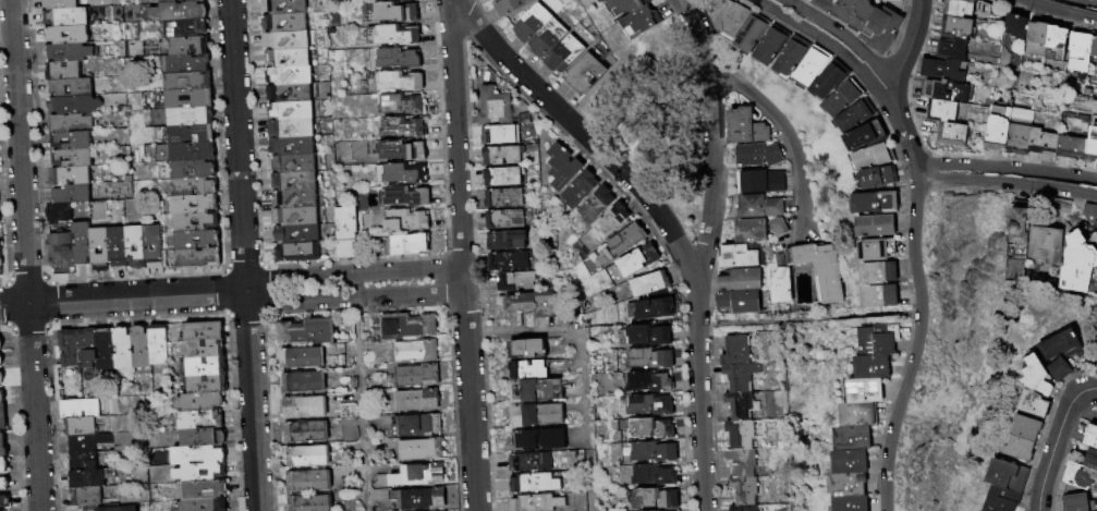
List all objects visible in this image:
building: (196, 0)
building: (486, 0)
building: (602, 0)
building: (894, 0)
building: (170, 1)
road: (1088, 1)
road: (682, 2)
building: (827, 3)
building: (61, 4)
road: (448, 4)
building: (624, 5)
building: (296, 7)
building: (505, 7)
building: (959, 8)
road: (1060, 11)
building: (181, 12)
building: (392, 12)
building: (853, 12)
building: (727, 16)
building: (68, 17)
building: (638, 21)
building: (527, 23)
building: (297, 25)
building: (1014, 25)
building: (880, 27)
building: (955, 27)
building: (186, 28)
building: (751, 33)
road: (841, 34)
building: (68, 35)
building: (394, 35)
building: (1053, 37)
building: (543, 38)
road: (699, 38)
building: (1035, 38)
road: (820, 39)
building: (287, 40)
building: (770, 45)
building: (191, 46)
road: (909, 46)
building: (951, 49)
building: (1094, 49)
building: (1078, 51)
building: (69, 52)
building: (560, 54)
building: (791, 56)
building: (397, 59)
building: (300, 60)
road: (505, 60)
building: (190, 63)
building: (810, 65)
building: (940, 69)
building: (64, 71)
building: (581, 74)
building: (291, 76)
building: (828, 80)
building: (399, 81)
building: (190, 82)
building: (82, 90)
building: (944, 90)
building: (302, 94)
building: (841, 98)
building: (191, 99)
building: (399, 102)
building: (75, 106)
building: (492, 107)
road: (710, 110)
building: (291, 111)
building: (941, 111)
building: (853, 115)
building: (193, 117)
building: (70, 123)
road: (901, 123)
building: (998, 126)
building: (403, 127)
building: (741, 127)
building: (292, 129)
building: (191, 134)
building: (498, 134)
building: (951, 134)
road: (788, 135)
building: (864, 135)
road: (455, 137)
building: (1019, 137)
building: (72, 141)
building: (1041, 142)
building: (1090, 144)
building: (304, 146)
building: (1070, 147)
building: (402, 150)
building: (187, 153)
building: (500, 155)
building: (753, 156)
building: (870, 156)
building: (73, 158)
building: (294, 165)
building: (558, 167)
road: (1005, 168)
building: (195, 170)
building: (405, 174)
building: (71, 177)
building: (501, 177)
building: (875, 177)
road: (963, 180)
building: (306, 183)
building: (748, 183)
building: (771, 183)
road: (637, 185)
building: (195, 187)
building: (573, 188)
road: (1053, 188)
building: (73, 195)
building: (407, 197)
building: (501, 198)
building: (295, 199)
building: (874, 202)
building: (590, 204)
building: (182, 205)
building: (1062, 205)
building: (756, 207)
road: (710, 210)
building: (1089, 211)
building: (60, 214)
building: (0, 217)
building: (295, 217)
building: (502, 219)
building: (406, 221)
building: (209, 222)
building: (604, 223)
building: (876, 224)
building: (1020, 227)
building: (772, 228)
building: (341, 231)
building: (747, 231)
building: (297, 235)
building: (1047, 239)
building: (198, 240)
building: (503, 241)
building: (83, 243)
building: (619, 243)
building: (409, 246)
building: (136, 247)
building: (101, 248)
building: (120, 248)
building: (148, 248)
building: (876, 248)
building: (62, 253)
building: (298, 253)
road: (25, 255)
road: (243, 255)
building: (733, 257)
building: (199, 258)
building: (505, 260)
building: (633, 260)
building: (1076, 261)
building: (1, 263)
building: (818, 270)
building: (877, 272)
road: (351, 273)
road: (463, 280)
building: (513, 281)
building: (735, 281)
building: (645, 284)
building: (781, 287)
building: (878, 295)
road: (122, 299)
road: (353, 299)
building: (733, 302)
building: (526, 304)
building: (648, 309)
park: (863, 316)
building: (401, 326)
building: (205, 330)
building: (305, 332)
building: (642, 336)
building: (878, 339)
road: (917, 339)
building: (2, 340)
park: (953, 343)
building: (159, 344)
road: (577, 344)
building: (1096, 346)
building: (71, 348)
building: (142, 348)
building: (89, 349)
building: (124, 349)
building: (206, 349)
building: (525, 350)
building: (107, 351)
building: (410, 351)
building: (734, 352)
building: (1058, 353)
building: (297, 358)
building: (644, 360)
building: (1, 361)
building: (207, 366)
building: (873, 366)
building: (526, 372)
building: (411, 375)
building: (1035, 377)
building: (2, 378)
building: (739, 378)
building: (300, 384)
building: (644, 384)
building: (208, 385)
road: (1092, 389)
building: (864, 390)
road: (698, 391)
road: (359, 392)
building: (533, 392)
building: (2, 398)
building: (411, 401)
building: (202, 402)
road: (470, 402)
building: (1032, 405)
building: (645, 406)
building: (736, 406)
building: (302, 407)
building: (78, 409)
building: (858, 414)
building: (535, 416)
building: (3, 418)
building: (202, 421)
building: (413, 425)
building: (80, 427)
building: (1025, 428)
building: (645, 429)
building: (303, 433)
building: (742, 434)
building: (1089, 435)
building: (852, 437)
building: (204, 438)
building: (537, 440)
building: (87, 442)
road: (1052, 445)
building: (3, 446)
building: (415, 449)
building: (1019, 449)
building: (648, 452)
building: (305, 458)
building: (1089, 459)
building: (850, 461)
building: (82, 462)
building: (217, 463)
building: (527, 463)
building: (740, 463)
building: (4, 465)
building: (1078, 474)
building: (413, 475)
building: (649, 476)
building: (1007, 476)
building: (89, 478)
building: (305, 482)
building: (4, 484)
building: (532, 484)
building: (846, 484)
road: (589, 487)
building: (205, 488)
building: (1095, 490)
building: (742, 491)
building: (85, 497)
building: (416, 499)
building: (650, 499)
building: (4, 500)
building: (1001, 500)
building: (1076, 502)
building: (307, 503)
building: (534, 503)
building: (850, 503)
building: (204, 506)
building: (117, 509)
building: (743, 509)

